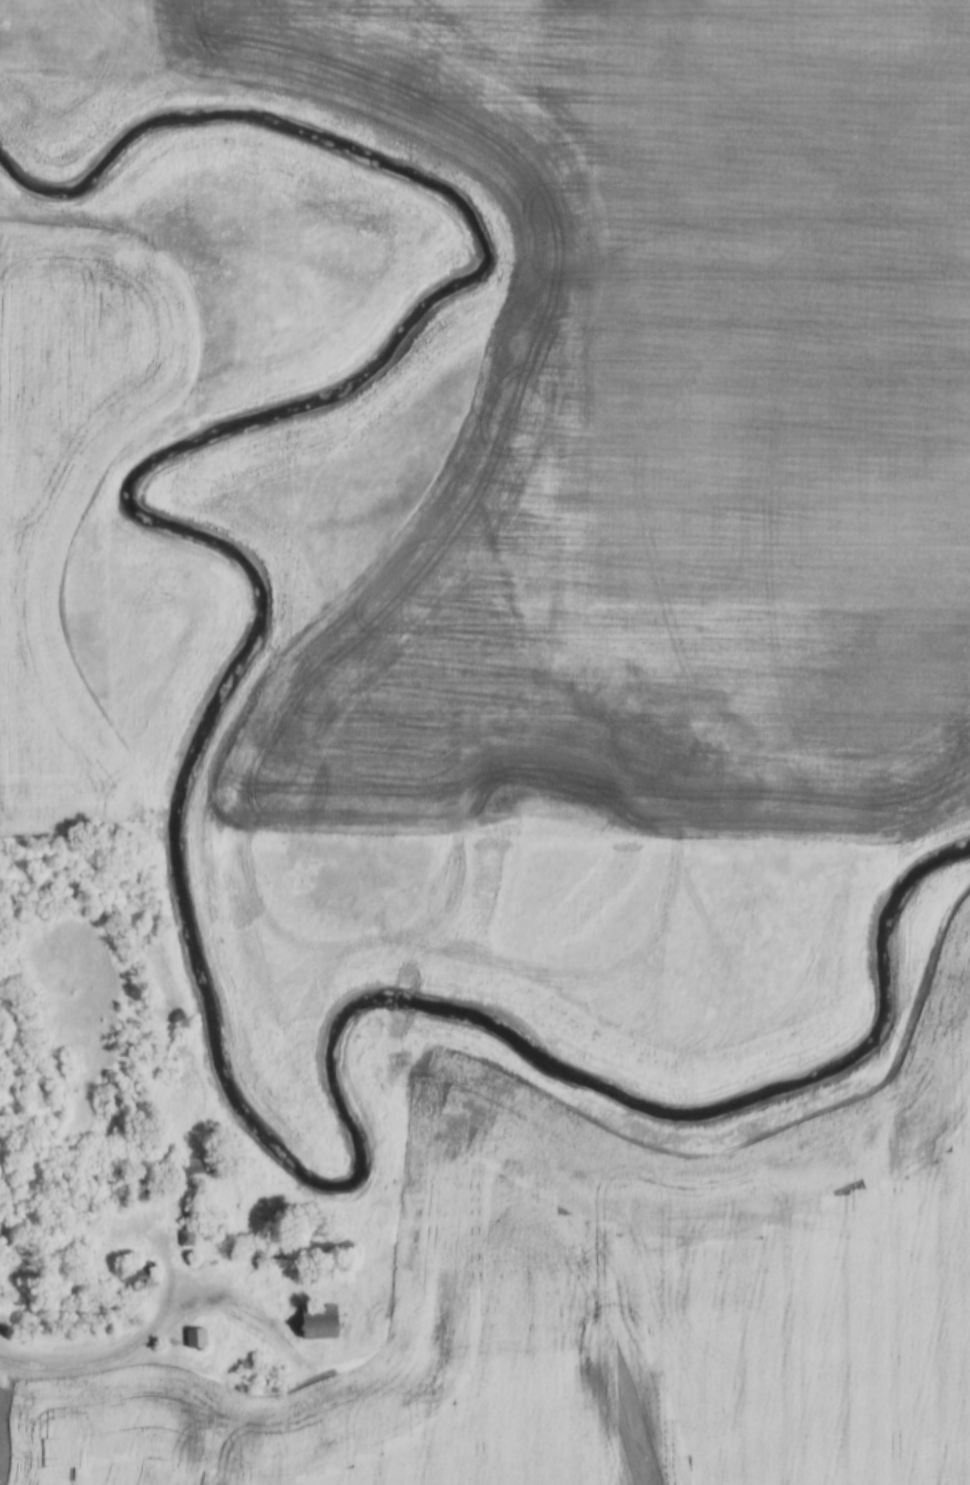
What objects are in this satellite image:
building: (137, 1274)
building: (316, 1321)
building: (195, 1338)
road: (98, 1363)

